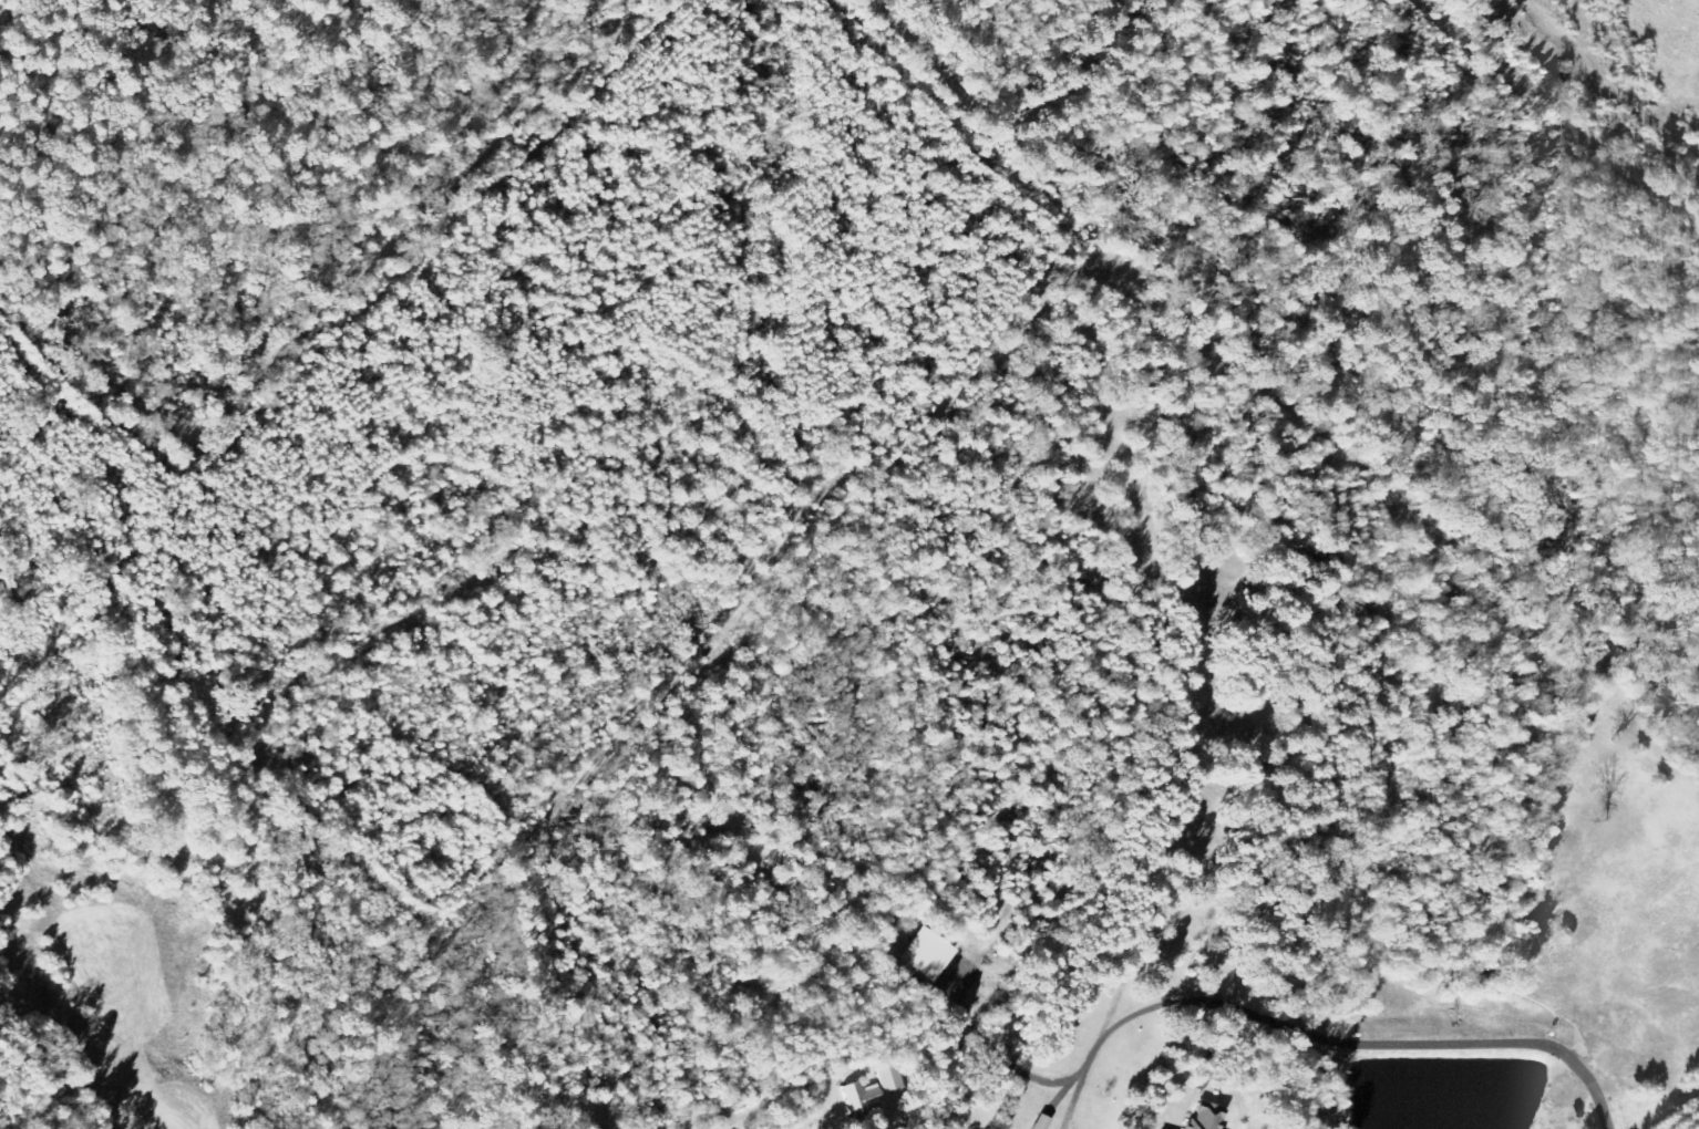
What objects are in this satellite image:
road: (1063, 75)
road: (1577, 91)
road: (1145, 736)
road: (87, 781)
building: (930, 955)
building: (1202, 1117)

